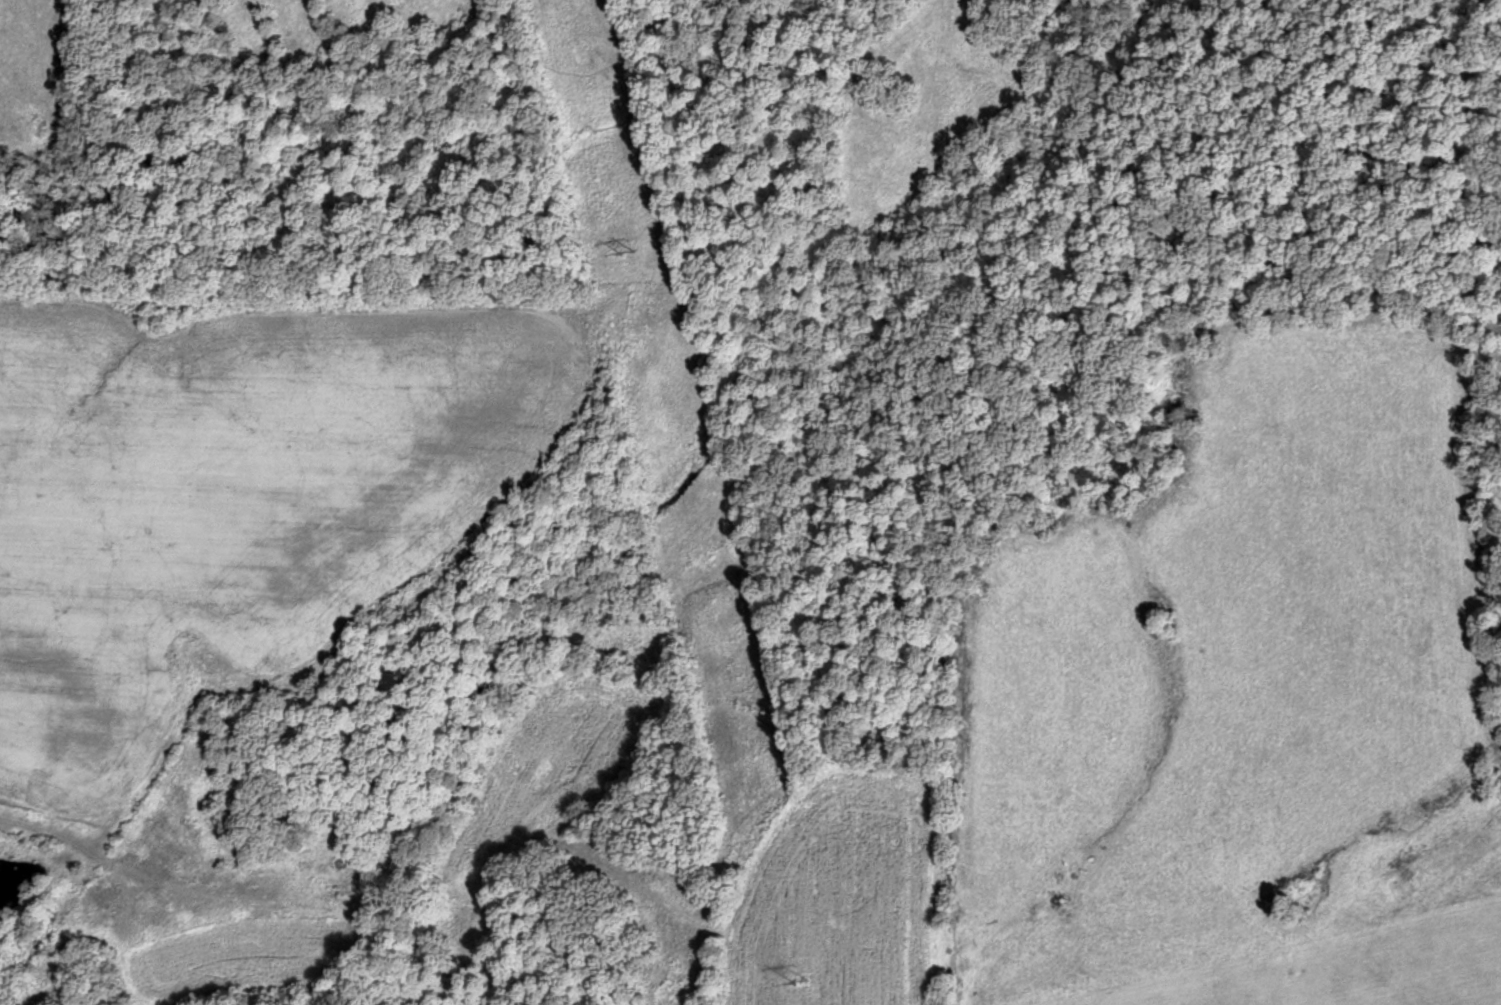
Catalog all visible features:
power tower: (627, 250)
power tower: (803, 981)

